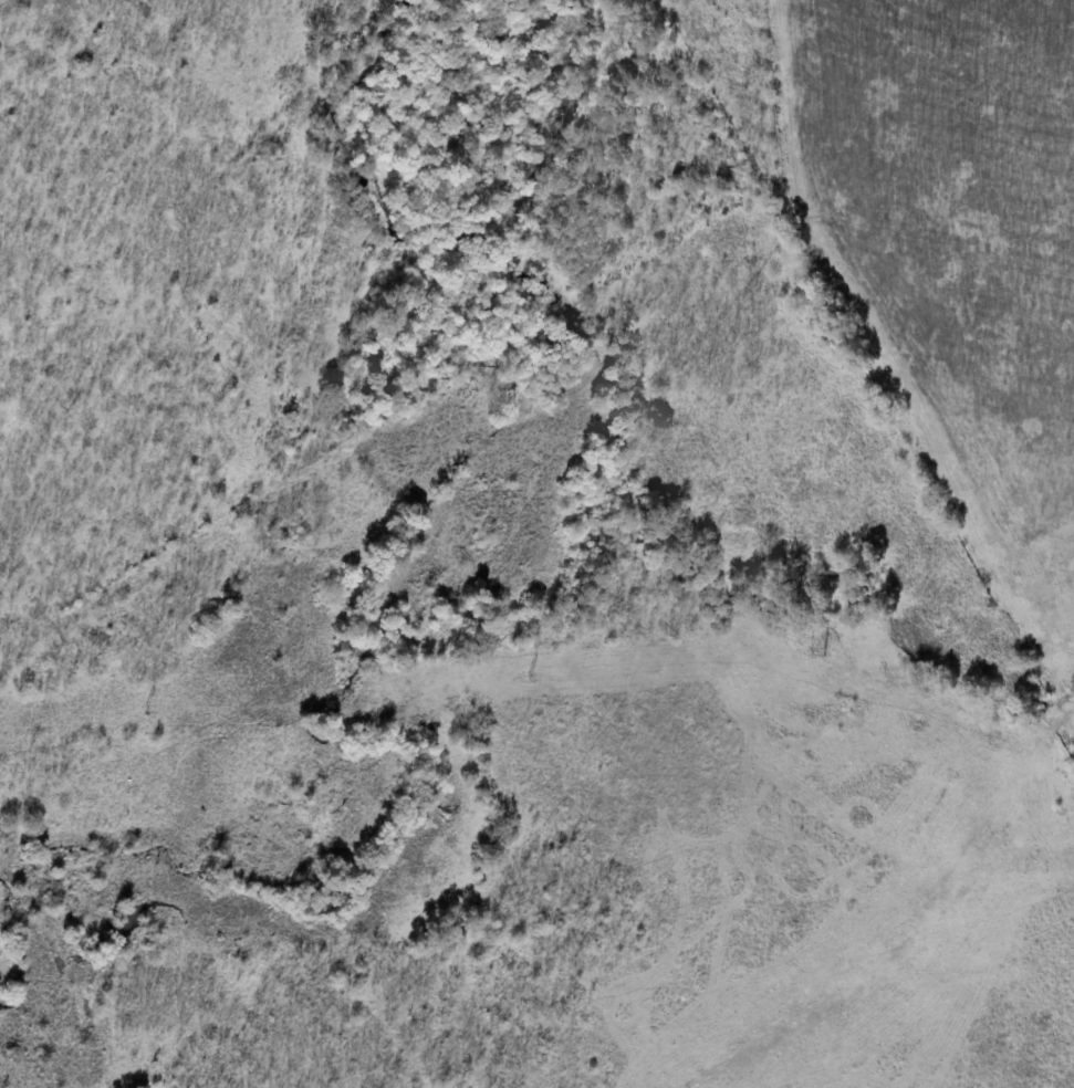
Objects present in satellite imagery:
power tower: (825, 651)
power tower: (530, 676)
power tower: (146, 707)

